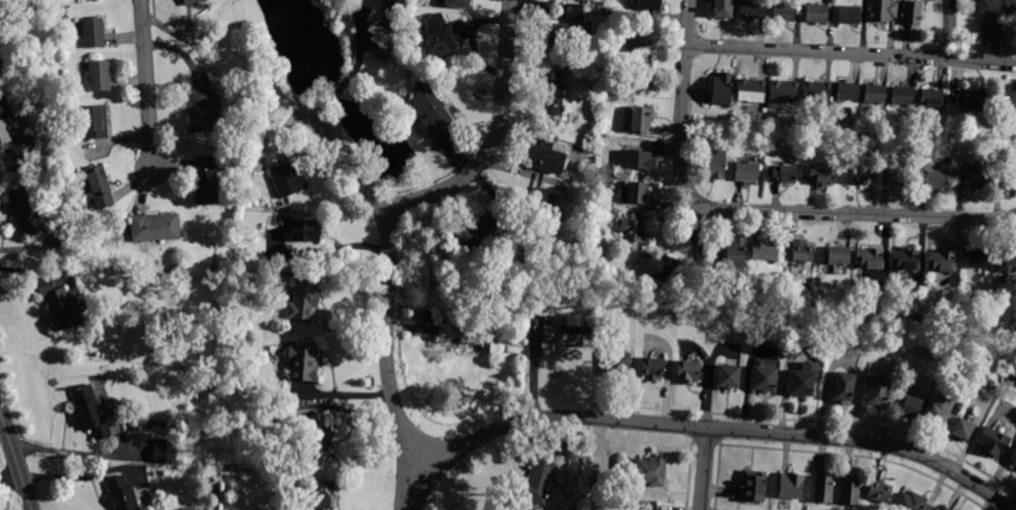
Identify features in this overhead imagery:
building: (192, 2)
building: (458, 3)
building: (650, 5)
building: (723, 8)
building: (997, 8)
building: (752, 9)
building: (784, 11)
building: (818, 11)
building: (883, 11)
building: (912, 13)
building: (850, 15)
building: (569, 29)
road: (950, 29)
building: (93, 32)
building: (990, 33)
building: (378, 36)
building: (443, 37)
building: (626, 42)
road: (851, 53)
road: (358, 65)
building: (2, 66)
building: (99, 76)
building: (644, 77)
road: (147, 87)
building: (722, 89)
building: (751, 90)
building: (784, 92)
building: (817, 92)
building: (848, 92)
building: (875, 94)
building: (903, 95)
building: (552, 98)
building: (931, 98)
building: (978, 99)
building: (1011, 101)
road: (682, 102)
building: (202, 109)
building: (434, 116)
building: (642, 120)
building: (93, 123)
road: (495, 137)
building: (16, 142)
building: (239, 153)
building: (639, 160)
building: (949, 162)
building: (714, 164)
building: (53, 169)
building: (544, 169)
building: (747, 172)
building: (857, 173)
building: (784, 174)
building: (822, 175)
building: (900, 177)
building: (973, 177)
building: (286, 179)
building: (937, 179)
building: (206, 180)
building: (1005, 184)
building: (98, 187)
building: (634, 193)
building: (604, 201)
building: (25, 209)
road: (855, 213)
building: (155, 227)
building: (634, 228)
building: (475, 230)
building: (302, 231)
building: (598, 235)
road: (329, 249)
building: (765, 250)
building: (802, 250)
building: (736, 254)
building: (839, 255)
building: (870, 258)
building: (907, 259)
building: (981, 259)
building: (943, 261)
building: (1010, 261)
building: (657, 267)
building: (1002, 280)
building: (807, 288)
road: (388, 296)
building: (303, 300)
building: (60, 306)
building: (859, 319)
building: (568, 332)
building: (471, 335)
building: (303, 362)
building: (618, 365)
building: (653, 368)
building: (689, 371)
building: (729, 376)
building: (764, 379)
building: (803, 379)
building: (844, 388)
building: (878, 392)
building: (910, 406)
building: (92, 412)
building: (939, 412)
building: (265, 425)
road: (717, 428)
building: (963, 429)
building: (319, 434)
building: (993, 442)
road: (72, 451)
building: (165, 451)
road: (15, 461)
building: (1014, 461)
building: (227, 468)
road: (703, 469)
building: (646, 471)
road: (10, 475)
building: (213, 484)
building: (599, 485)
building: (535, 486)
building: (753, 486)
building: (791, 486)
building: (824, 488)
building: (850, 490)
building: (879, 491)
building: (122, 494)
building: (317, 494)
building: (912, 502)
building: (649, 506)
building: (946, 508)
building: (943, 509)

